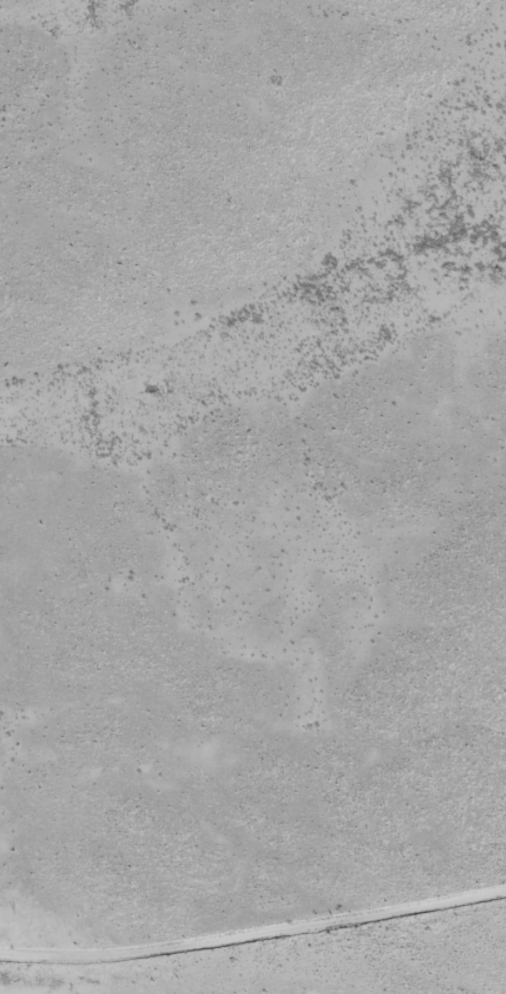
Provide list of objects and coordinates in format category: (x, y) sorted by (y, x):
road: (253, 890)

